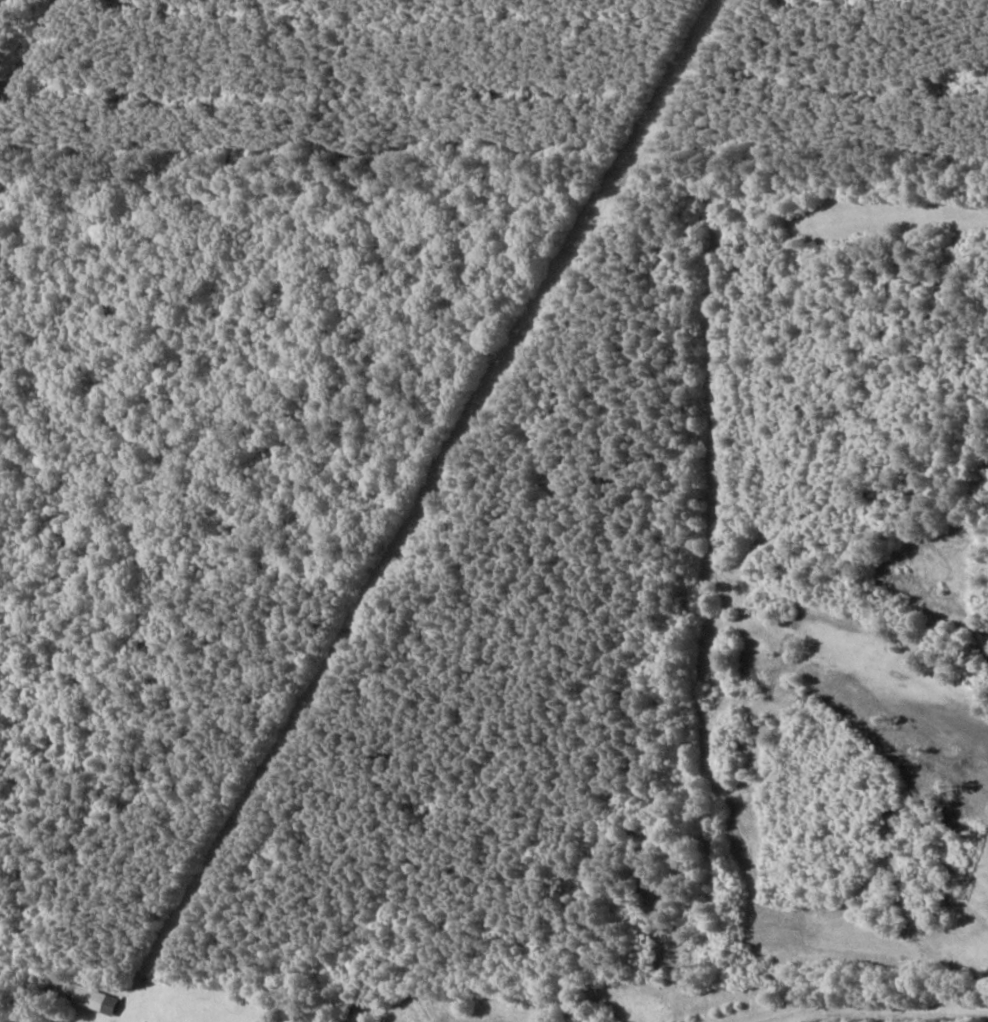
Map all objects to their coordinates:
building: (97, 999)

